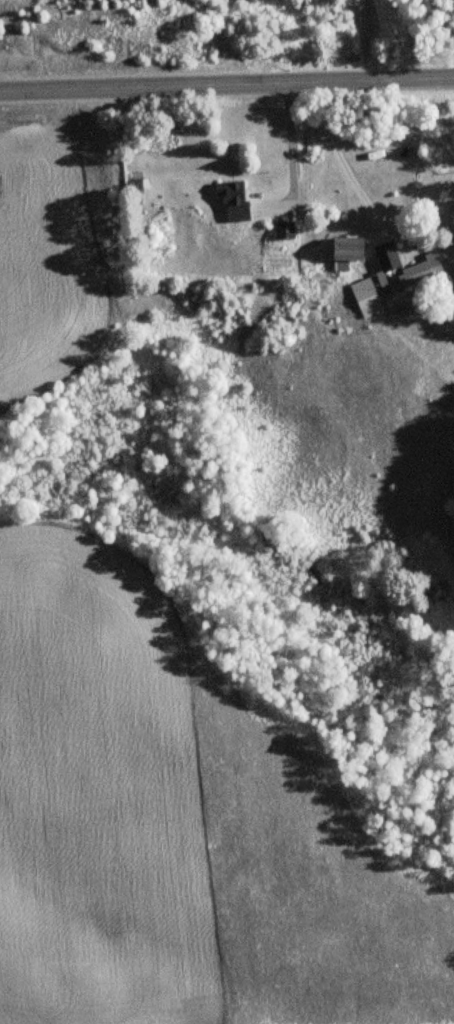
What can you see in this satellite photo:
road: (369, 40)
road: (227, 84)
building: (232, 200)
building: (283, 231)
building: (345, 250)
building: (386, 257)
building: (414, 275)
building: (366, 298)

